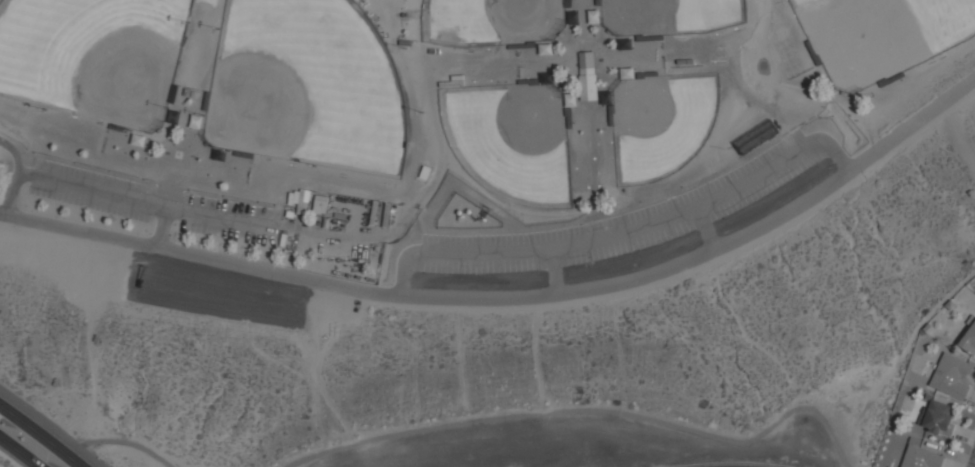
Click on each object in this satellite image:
park: (672, 16)
park: (499, 22)
park: (882, 35)
park: (95, 56)
building: (586, 76)
park: (308, 86)
park: (666, 123)
park: (515, 141)
road: (14, 176)
parking lot: (95, 177)
parking lot: (86, 201)
road: (143, 204)
building: (320, 204)
parking lot: (227, 206)
park: (463, 208)
parking lot: (618, 221)
road: (160, 227)
road: (704, 228)
parking lot: (228, 232)
road: (624, 232)
road: (553, 271)
road: (512, 298)
building: (969, 337)
building: (951, 376)
building: (938, 418)
road: (36, 437)
road: (17, 453)
building: (921, 458)
road: (974, 466)

